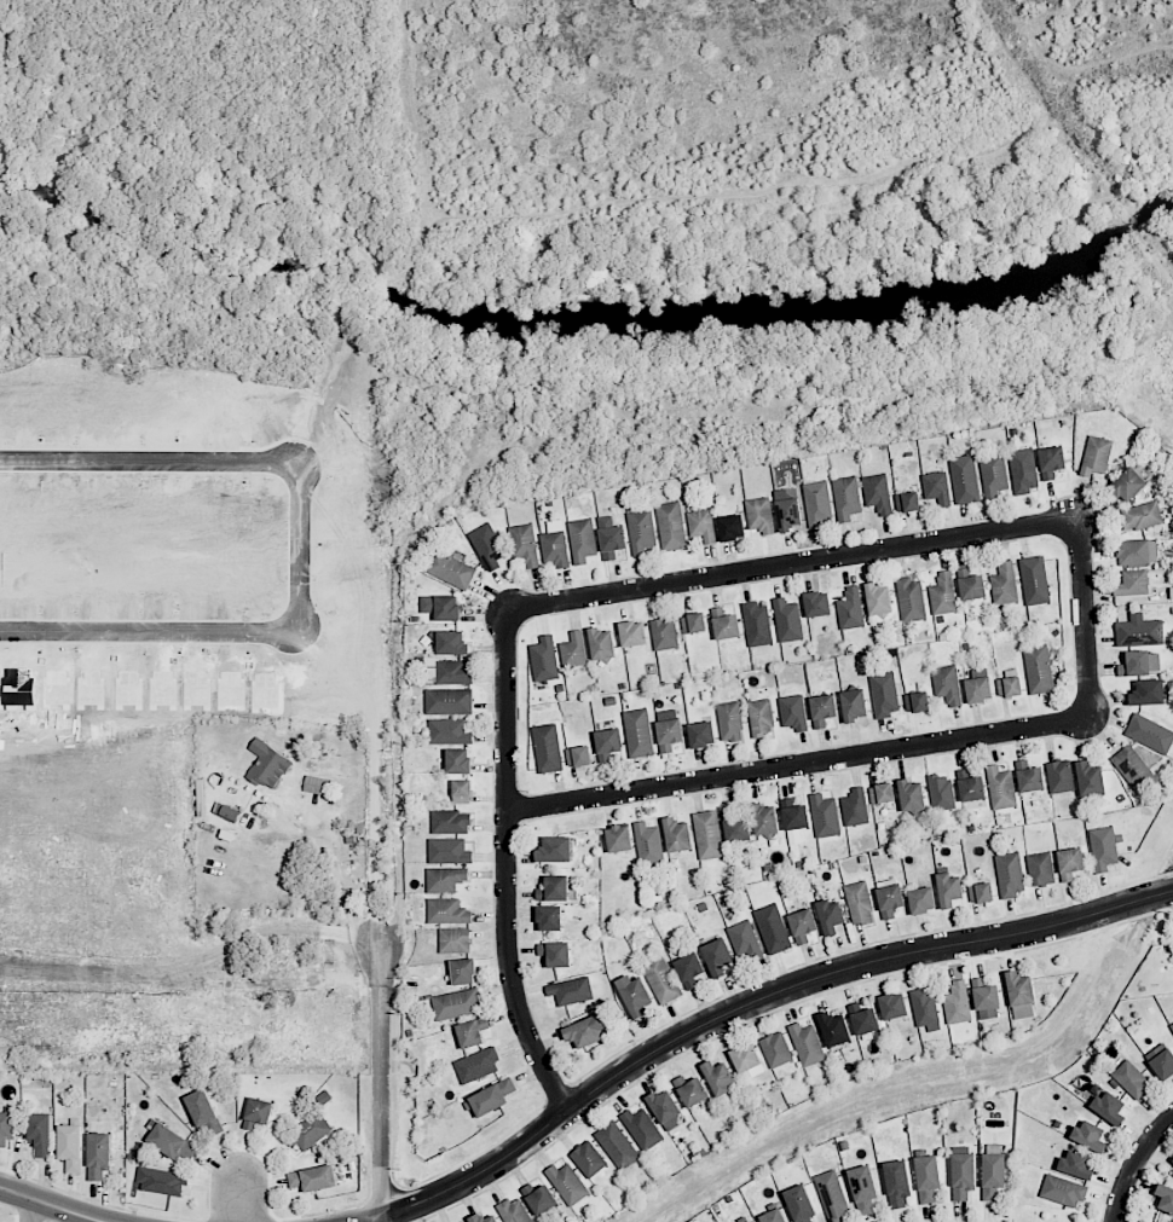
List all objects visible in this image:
building: (1096, 456)
building: (1051, 461)
building: (1023, 470)
building: (993, 474)
building: (965, 479)
building: (1127, 485)
building: (936, 487)
building: (877, 493)
building: (846, 498)
building: (907, 502)
building: (817, 503)
building: (787, 510)
building: (761, 515)
building: (1142, 516)
building: (701, 525)
building: (671, 526)
building: (732, 527)
building: (641, 532)
building: (611, 538)
building: (582, 540)
road: (306, 541)
building: (524, 544)
building: (487, 546)
building: (555, 548)
building: (1137, 552)
road: (792, 564)
building: (450, 569)
building: (1034, 580)
building: (1133, 583)
building: (1004, 584)
building: (971, 585)
building: (943, 593)
building: (911, 600)
building: (878, 601)
building: (817, 603)
building: (440, 607)
building: (851, 609)
road: (1084, 619)
building: (787, 620)
building: (693, 622)
building: (724, 624)
building: (757, 624)
building: (1138, 631)
building: (632, 633)
building: (664, 633)
building: (452, 643)
building: (602, 643)
building: (573, 650)
building: (543, 659)
building: (1140, 664)
building: (1038, 670)
building: (446, 671)
building: (947, 684)
building: (1009, 687)
building: (978, 689)
building: (1148, 693)
building: (884, 694)
building: (449, 701)
building: (917, 701)
building: (854, 705)
building: (822, 710)
building: (793, 712)
building: (761, 717)
building: (729, 722)
building: (668, 729)
building: (449, 731)
building: (638, 732)
building: (701, 734)
building: (1149, 734)
building: (607, 743)
building: (547, 748)
building: (578, 755)
building: (458, 760)
building: (267, 764)
road: (797, 768)
building: (1133, 770)
building: (1029, 776)
building: (1059, 776)
building: (1090, 778)
building: (317, 784)
building: (970, 786)
building: (1001, 788)
building: (462, 792)
building: (941, 792)
building: (882, 793)
building: (911, 795)
building: (855, 807)
building: (825, 816)
building: (764, 818)
building: (451, 822)
building: (735, 827)
building: (677, 835)
building: (707, 835)
building: (619, 839)
building: (648, 844)
building: (1103, 849)
building: (555, 850)
building: (449, 851)
building: (1070, 863)
road: (504, 868)
building: (1041, 869)
building: (1010, 874)
building: (445, 879)
building: (554, 888)
building: (948, 890)
building: (981, 892)
building: (889, 899)
building: (921, 899)
building: (859, 903)
building: (447, 911)
building: (831, 915)
building: (549, 917)
building: (802, 926)
building: (772, 928)
building: (455, 940)
building: (744, 940)
building: (556, 954)
building: (717, 957)
building: (689, 969)
road: (192, 971)
building: (463, 972)
building: (660, 979)
building: (571, 991)
building: (635, 995)
building: (1021, 995)
building: (986, 997)
road: (755, 1002)
building: (957, 1002)
building: (456, 1004)
building: (892, 1006)
building: (925, 1008)
building: (863, 1018)
building: (1172, 1026)
building: (833, 1029)
building: (585, 1031)
building: (472, 1032)
building: (807, 1044)
building: (776, 1049)
building: (747, 1060)
building: (1161, 1060)
building: (476, 1065)
building: (718, 1077)
road: (383, 1079)
building: (1132, 1079)
building: (692, 1090)
building: (492, 1098)
building: (1109, 1107)
building: (665, 1108)
building: (203, 1112)
building: (258, 1112)
building: (6, 1128)
building: (642, 1129)
building: (312, 1131)
building: (40, 1134)
building: (1090, 1136)
building: (172, 1142)
building: (617, 1145)
building: (70, 1147)
building: (99, 1156)
building: (588, 1159)
building: (1172, 1160)
building: (1075, 1164)
road: (1136, 1164)
building: (993, 1175)
building: (963, 1176)
building: (928, 1177)
building: (313, 1178)
building: (160, 1181)
building: (567, 1183)
building: (896, 1183)
building: (862, 1189)
building: (1062, 1191)
building: (832, 1195)
building: (539, 1198)
building: (1165, 1198)
building: (799, 1204)
road: (48, 1206)
road: (242, 1210)
building: (514, 1211)
road: (31, 1212)
building: (773, 1216)
building: (483, 1218)
road: (372, 1220)
road: (381, 1220)
building: (464, 1221)
building: (751, 1221)

